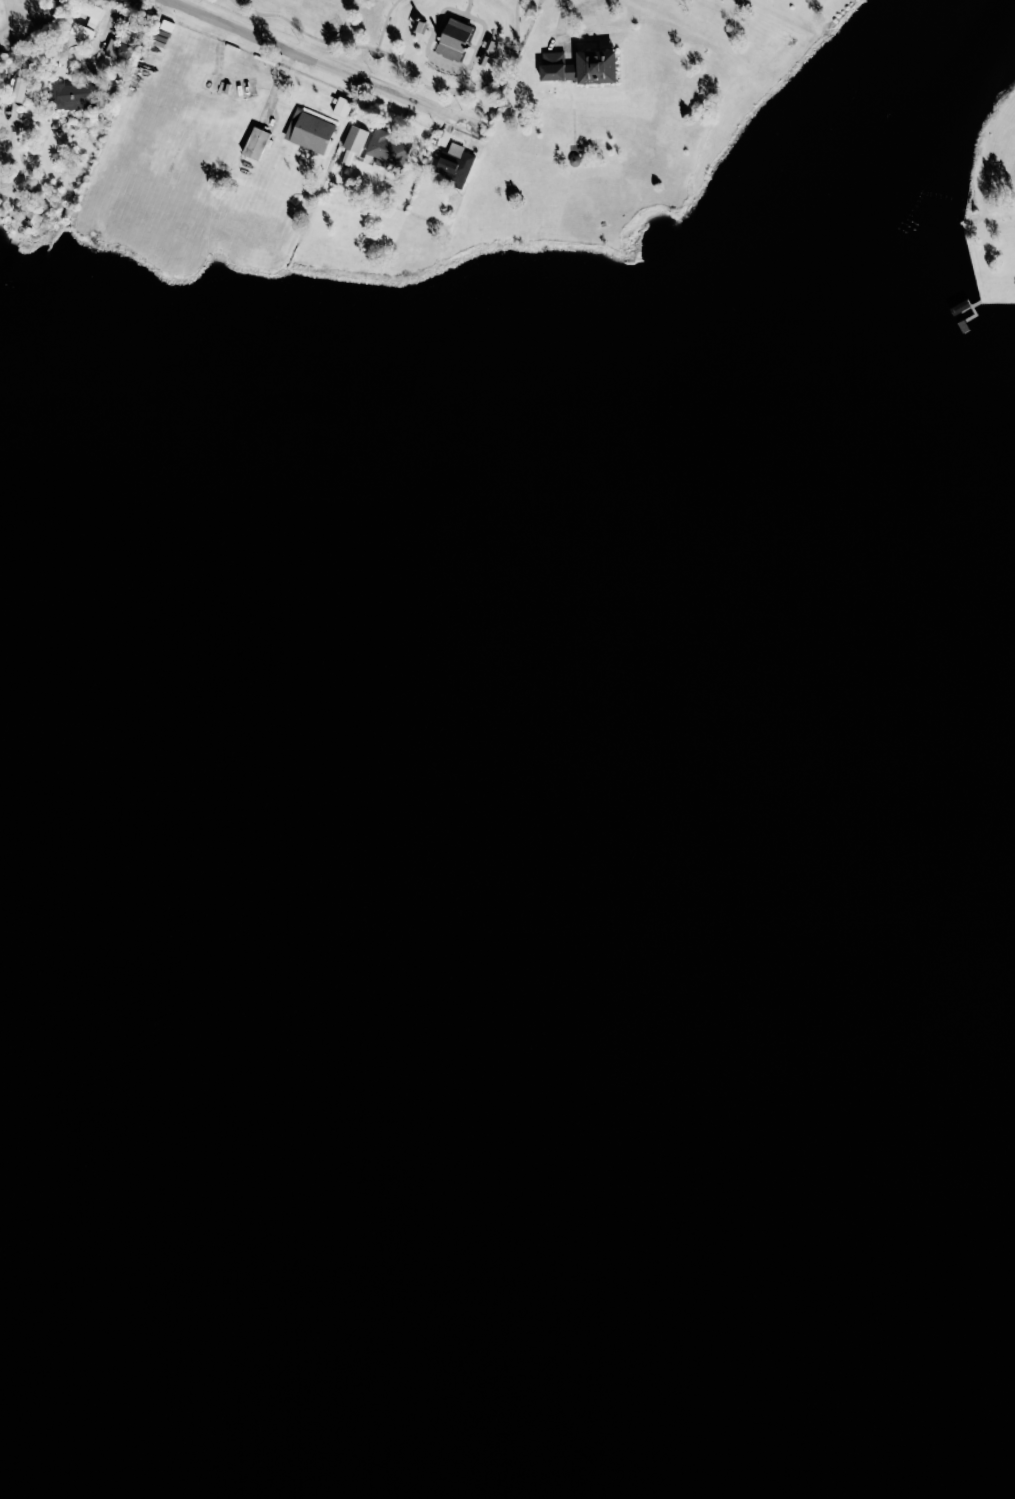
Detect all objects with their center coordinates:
road: (563, 11)
road: (384, 22)
building: (82, 31)
road: (101, 37)
park: (412, 39)
building: (454, 39)
building: (119, 49)
building: (581, 65)
road: (404, 66)
road: (326, 67)
building: (19, 89)
building: (73, 95)
building: (342, 107)
building: (310, 131)
building: (354, 138)
building: (255, 143)
building: (387, 150)
building: (455, 164)

